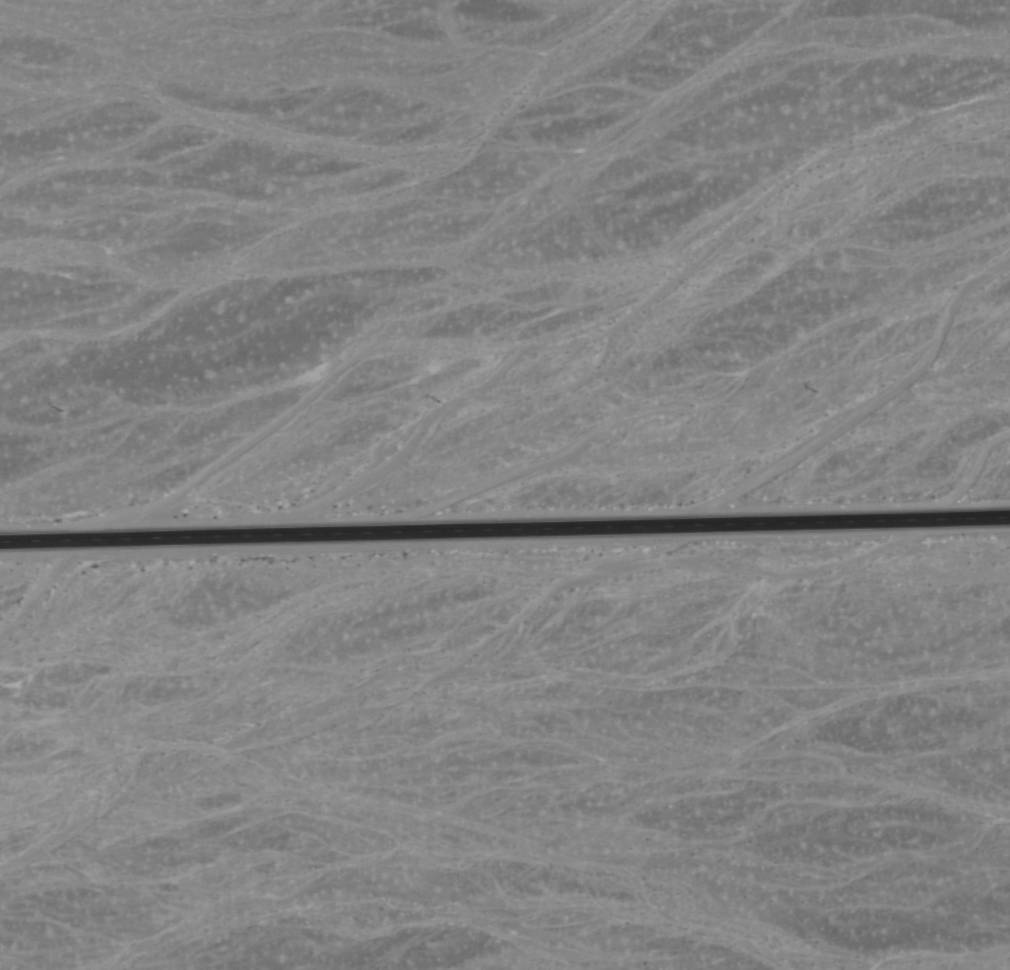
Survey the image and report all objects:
road: (505, 529)

